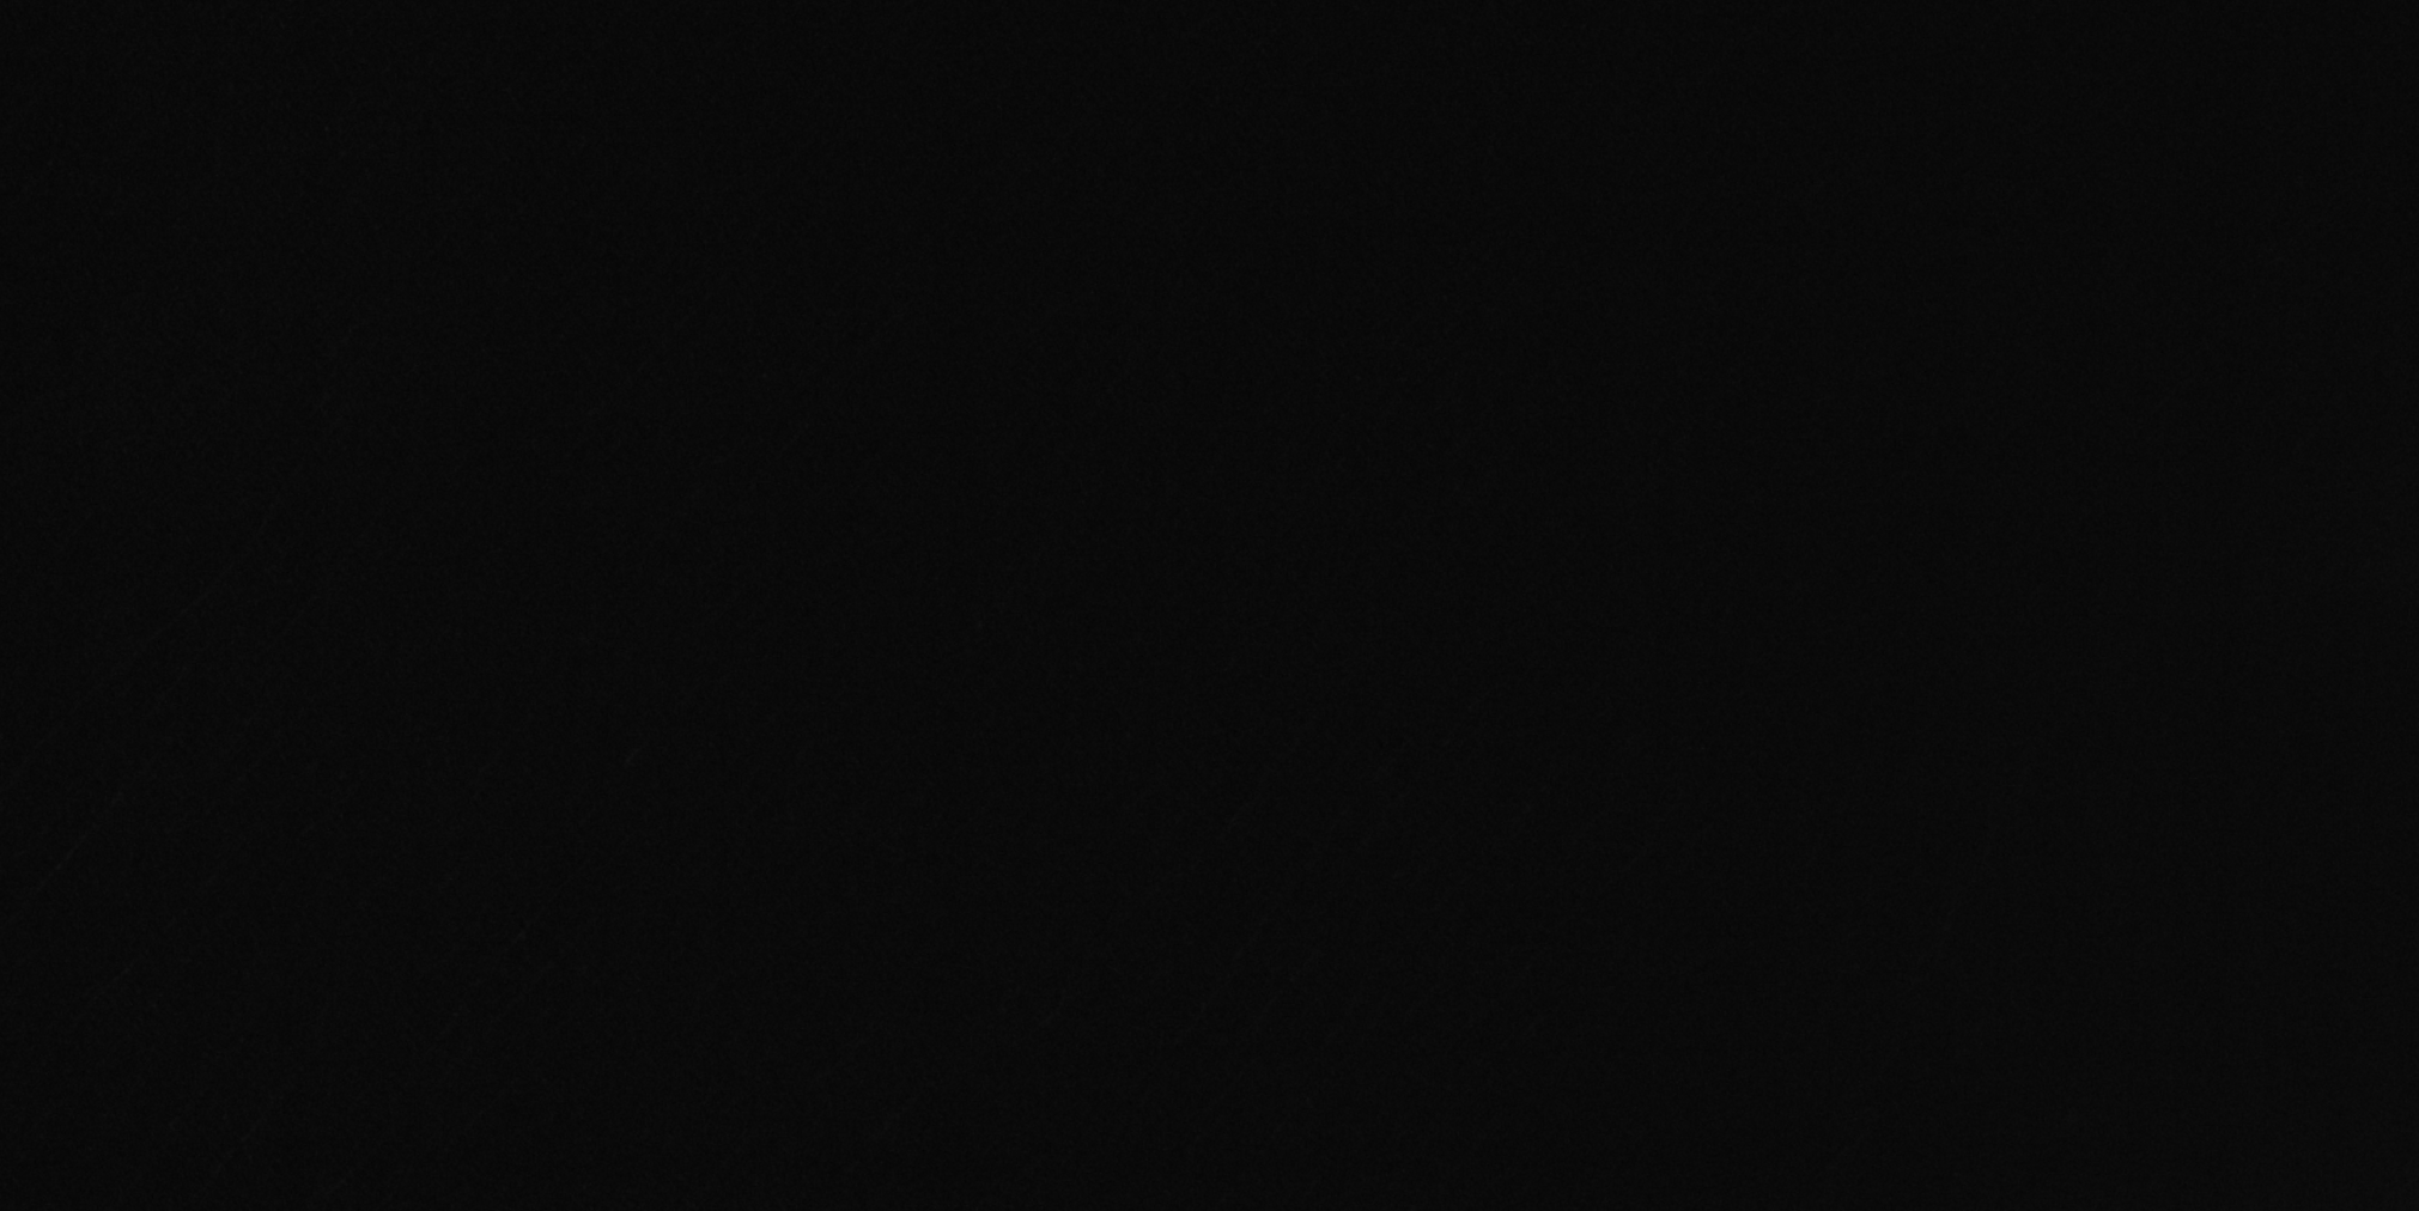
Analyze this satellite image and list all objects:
river: (189, 269)

